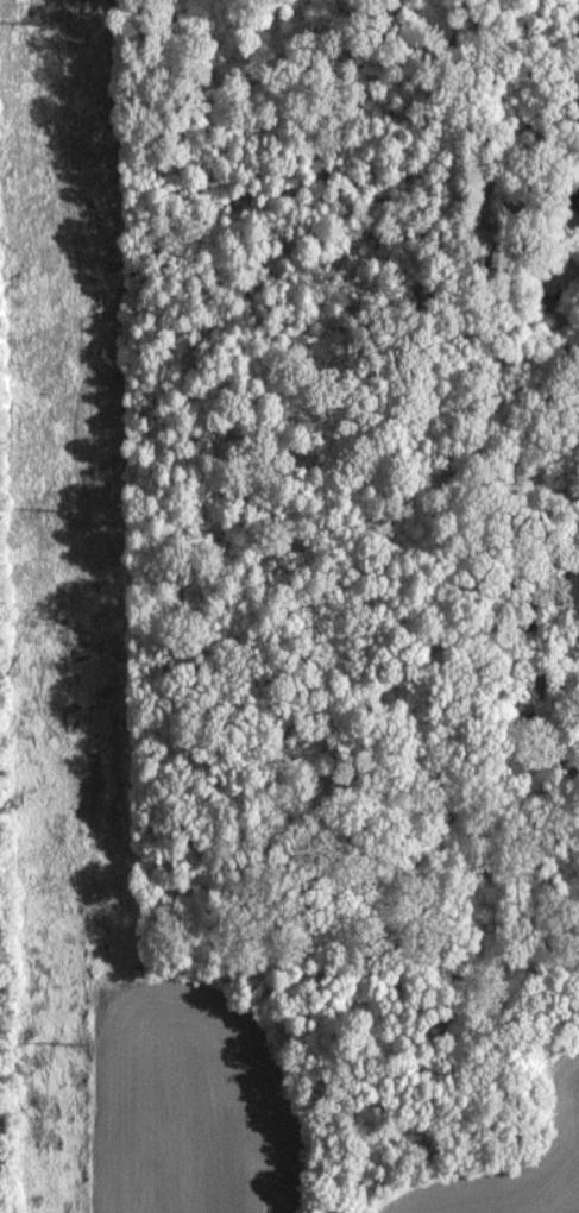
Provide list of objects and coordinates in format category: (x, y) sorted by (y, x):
power tower: (54, 26)
power tower: (75, 515)
power tower: (81, 1048)

